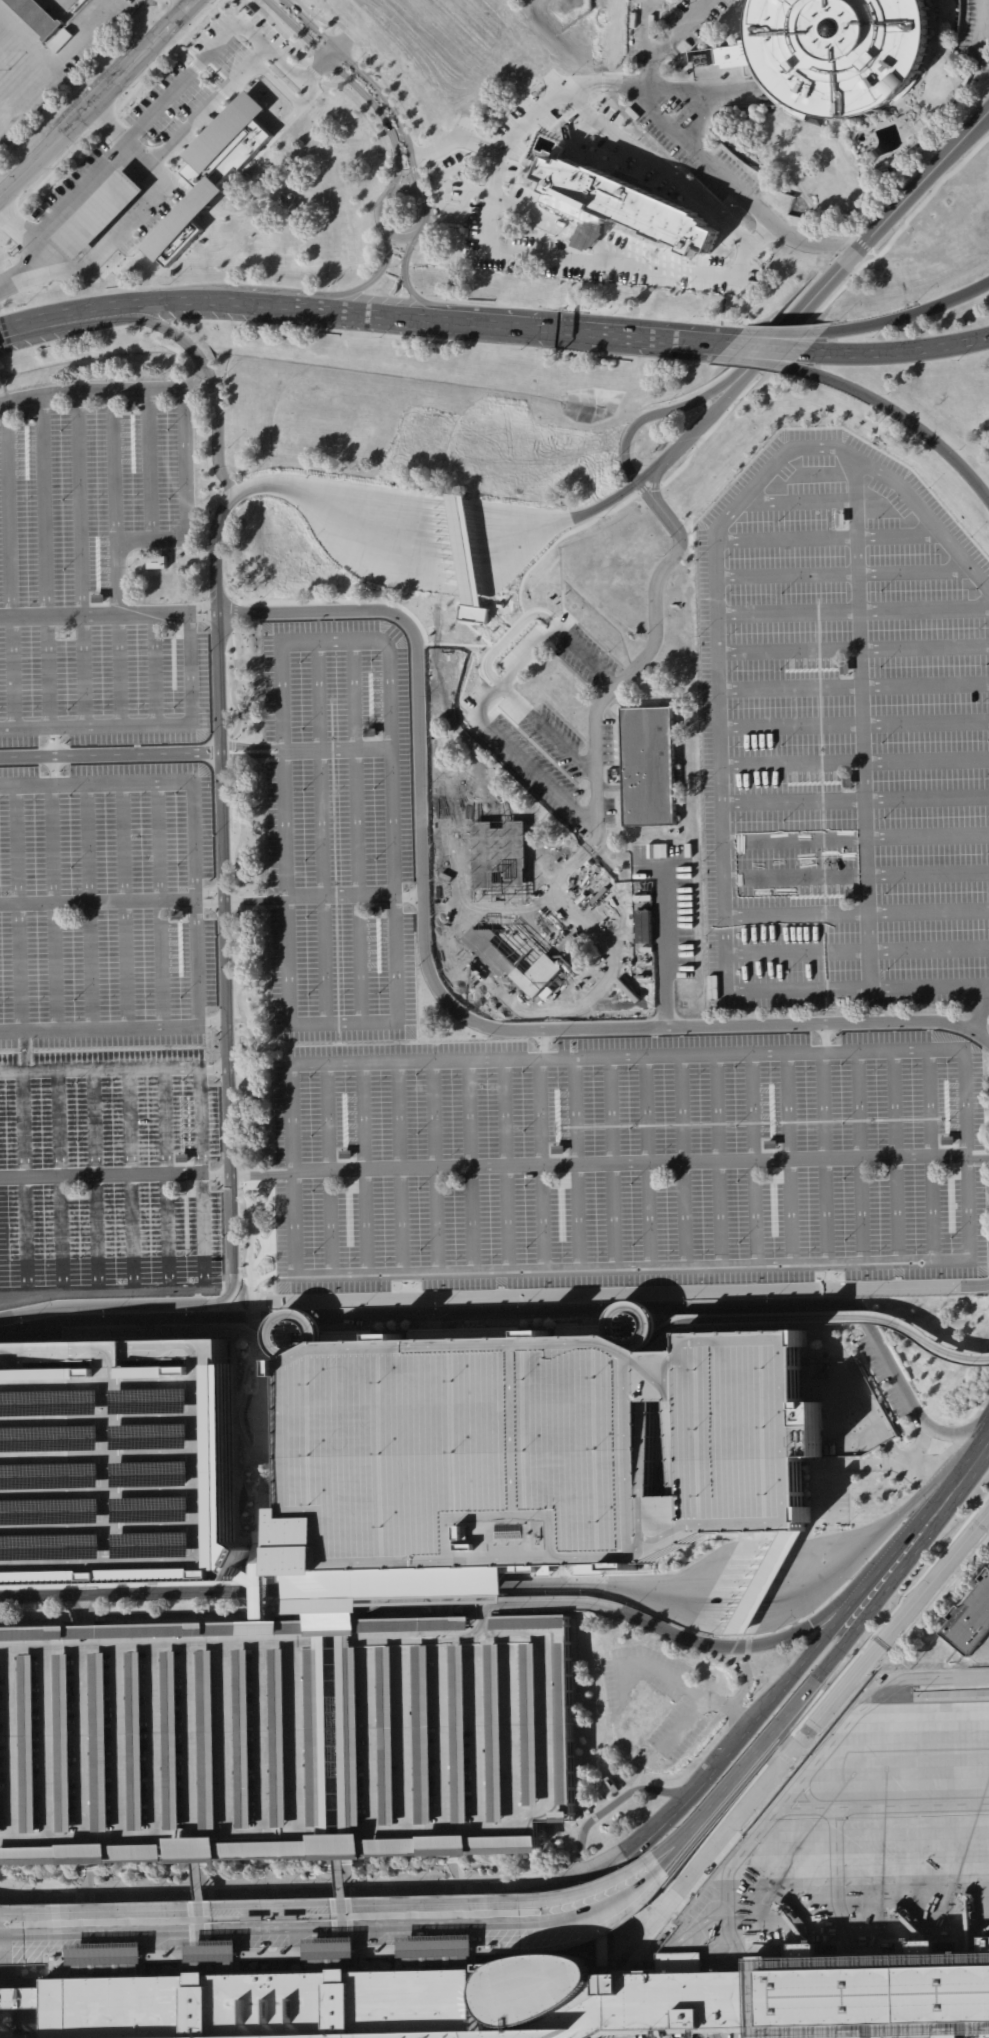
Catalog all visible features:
road: (183, 3)
building: (37, 17)
road: (332, 28)
road: (230, 30)
road: (648, 30)
road: (281, 32)
road: (981, 32)
parking lot: (977, 34)
road: (669, 38)
building: (60, 39)
road: (318, 42)
building: (837, 52)
road: (330, 53)
road: (164, 54)
road: (180, 54)
road: (306, 55)
building: (732, 55)
building: (701, 61)
road: (368, 62)
road: (285, 64)
road: (194, 67)
road: (314, 69)
road: (313, 72)
road: (208, 80)
road: (277, 83)
road: (602, 83)
road: (354, 84)
road: (372, 84)
road: (309, 87)
road: (234, 92)
road: (725, 92)
road: (221, 93)
parking lot: (682, 94)
road: (308, 99)
road: (97, 101)
road: (230, 102)
road: (687, 103)
road: (249, 106)
road: (368, 115)
road: (106, 121)
road: (281, 125)
building: (249, 129)
building: (225, 130)
building: (926, 131)
road: (215, 132)
road: (179, 138)
road: (454, 141)
parking lot: (156, 146)
building: (232, 147)
road: (420, 154)
road: (102, 164)
building: (216, 164)
road: (56, 167)
road: (407, 170)
road: (666, 172)
road: (494, 175)
road: (102, 177)
building: (201, 179)
road: (736, 188)
road: (196, 189)
road: (437, 190)
road: (478, 191)
road: (118, 193)
road: (84, 196)
road: (204, 197)
building: (621, 205)
road: (176, 206)
road: (133, 208)
road: (377, 210)
building: (99, 212)
gas station: (99, 212)
road: (238, 212)
road: (13, 213)
road: (100, 213)
road: (66, 216)
road: (533, 217)
building: (183, 218)
road: (14, 224)
road: (115, 228)
road: (82, 231)
road: (117, 235)
building: (588, 235)
road: (762, 235)
road: (585, 240)
road: (96, 246)
road: (859, 248)
road: (546, 255)
road: (625, 257)
road: (25, 273)
road: (367, 283)
road: (406, 283)
road: (130, 305)
road: (277, 305)
road: (821, 307)
road: (376, 313)
road: (905, 315)
road: (484, 323)
road: (9, 328)
road: (627, 335)
road: (777, 339)
road: (183, 341)
road: (732, 344)
road: (771, 347)
road: (897, 352)
road: (763, 355)
road: (191, 377)
building: (129, 405)
road: (654, 415)
building: (23, 416)
road: (898, 416)
road: (698, 428)
road: (821, 447)
road: (147, 465)
road: (113, 466)
road: (647, 475)
road: (281, 482)
road: (653, 484)
road: (646, 485)
road: (187, 493)
road: (645, 493)
road: (798, 500)
road: (459, 514)
toll booth: (459, 514)
road: (556, 521)
road: (826, 536)
building: (465, 550)
road: (79, 559)
building: (425, 559)
road: (43, 561)
building: (157, 562)
road: (8, 565)
road: (843, 573)
parking lot: (91, 581)
building: (500, 605)
building: (473, 613)
road: (58, 615)
road: (234, 616)
building: (172, 630)
road: (508, 637)
road: (462, 645)
road: (853, 647)
building: (845, 668)
road: (119, 669)
road: (153, 669)
road: (854, 685)
road: (234, 686)
road: (609, 692)
road: (487, 700)
road: (854, 722)
road: (863, 723)
road: (146, 724)
road: (547, 731)
building: (369, 733)
parking lot: (843, 734)
road: (230, 751)
road: (209, 753)
road: (855, 759)
building: (649, 766)
building: (847, 781)
road: (153, 788)
road: (722, 797)
road: (856, 797)
road: (242, 830)
road: (356, 830)
road: (320, 831)
parking lot: (339, 831)
road: (856, 835)
building: (664, 851)
building: (688, 851)
building: (641, 853)
building: (650, 853)
road: (857, 874)
building: (850, 894)
road: (222, 895)
road: (234, 901)
road: (211, 904)
building: (506, 906)
road: (164, 907)
road: (95, 909)
road: (127, 909)
road: (21, 910)
road: (57, 910)
building: (376, 911)
road: (392, 911)
road: (858, 911)
building: (177, 916)
road: (858, 949)
road: (663, 950)
road: (600, 988)
road: (439, 991)
building: (546, 993)
road: (980, 1009)
airport: (494, 1019)
road: (159, 1028)
parking lot: (107, 1030)
road: (250, 1036)
road: (965, 1101)
building: (946, 1140)
road: (823, 1144)
building: (768, 1145)
road: (538, 1150)
building: (557, 1150)
building: (345, 1154)
road: (859, 1156)
road: (892, 1156)
road: (927, 1156)
building: (183, 1158)
road: (751, 1159)
road: (785, 1159)
parking lot: (627, 1160)
road: (715, 1160)
road: (680, 1161)
road: (575, 1162)
road: (609, 1162)
road: (644, 1162)
road: (503, 1164)
road: (468, 1165)
road: (398, 1166)
road: (433, 1166)
road: (362, 1167)
road: (326, 1168)
road: (494, 1169)
road: (239, 1175)
road: (135, 1180)
road: (168, 1180)
road: (200, 1181)
road: (62, 1182)
road: (98, 1182)
road: (28, 1183)
road: (242, 1186)
road: (270, 1191)
road: (290, 1223)
road: (268, 1246)
road: (249, 1247)
road: (273, 1247)
road: (261, 1248)
road: (825, 1276)
road: (406, 1286)
road: (628, 1292)
road: (201, 1304)
road: (701, 1306)
road: (632, 1308)
road: (27, 1311)
road: (463, 1311)
road: (253, 1315)
road: (294, 1315)
road: (137, 1318)
road: (825, 1318)
road: (445, 1329)
road: (412, 1330)
road: (820, 1330)
road: (167, 1331)
road: (30, 1334)
road: (112, 1348)
road: (175, 1348)
road: (41, 1349)
road: (64, 1351)
road: (884, 1354)
road: (116, 1359)
road: (24, 1360)
road: (23, 1361)
road: (270, 1392)
road: (864, 1400)
road: (259, 1430)
road: (280, 1441)
building: (535, 1450)
parking garage: (535, 1450)
road: (254, 1453)
road: (248, 1457)
road: (917, 1461)
road: (972, 1462)
road: (865, 1463)
building: (115, 1475)
parking garage: (115, 1475)
road: (912, 1502)
road: (829, 1516)
building: (259, 1546)
road: (562, 1578)
road: (804, 1579)
building: (765, 1581)
road: (765, 1582)
toll booth: (766, 1582)
road: (631, 1583)
road: (399, 1588)
building: (258, 1590)
road: (261, 1591)
road: (279, 1591)
road: (127, 1593)
road: (260, 1594)
building: (385, 1595)
road: (849, 1601)
road: (549, 1605)
building: (970, 1620)
building: (532, 1622)
road: (247, 1642)
road: (757, 1645)
road: (639, 1664)
road: (815, 1680)
road: (715, 1703)
building: (641, 1713)
road: (819, 1718)
road: (686, 1721)
building: (285, 1736)
parking lot: (285, 1736)
road: (727, 1742)
airport taxiway: (919, 1750)
road: (805, 1773)
building: (612, 1784)
road: (887, 1798)
road: (605, 1806)
road: (621, 1847)
airport apron: (857, 1852)
building: (83, 1854)
road: (840, 1883)
road: (254, 1893)
road: (602, 1893)
road: (608, 1904)
road: (387, 1908)
road: (275, 1914)
road: (6, 1919)
road: (511, 1926)
road: (239, 1932)
building: (928, 1947)
building: (806, 1950)
building: (436, 1952)
building: (330, 1955)
building: (212, 1957)
building: (106, 1960)
airport terminal: (530, 2001)
building: (530, 2001)
airport apron: (668, 2033)
road: (716, 2033)
airport terminal: (0, 2037)
building: (0, 2037)

